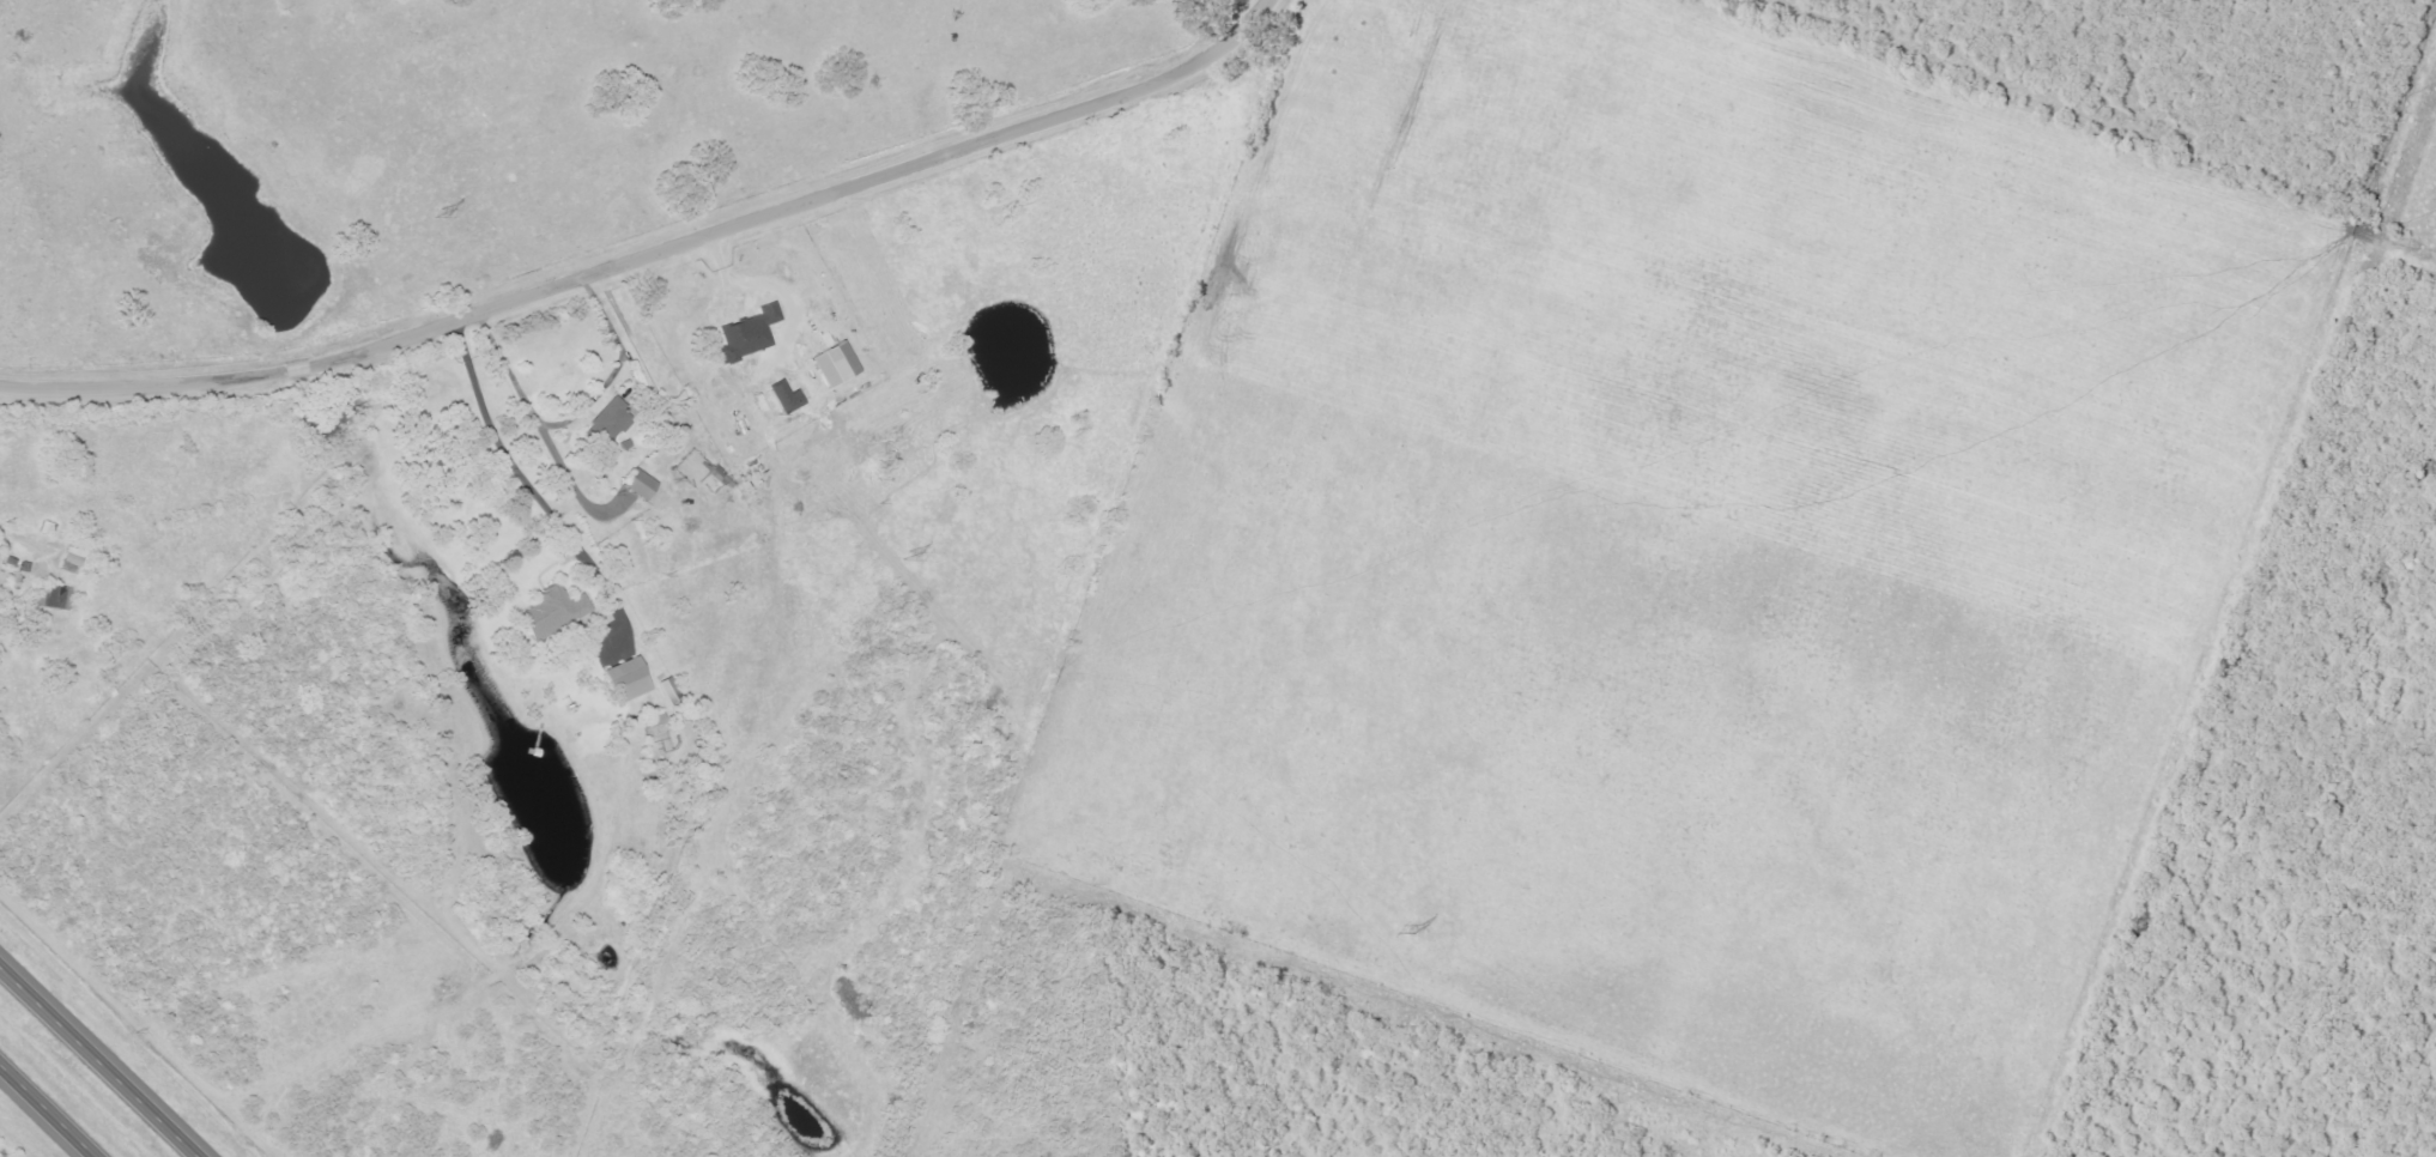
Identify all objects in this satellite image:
power tower: (425, 217)
road: (653, 252)
building: (749, 333)
building: (836, 364)
building: (788, 398)
building: (610, 418)
road: (457, 483)
building: (641, 484)
building: (72, 559)
power tower: (895, 559)
building: (59, 596)
building: (553, 611)
power tower: (1056, 671)
building: (629, 679)
building: (654, 720)
road: (1, 776)
power tower: (1404, 932)
road: (97, 1064)
road: (46, 1111)

